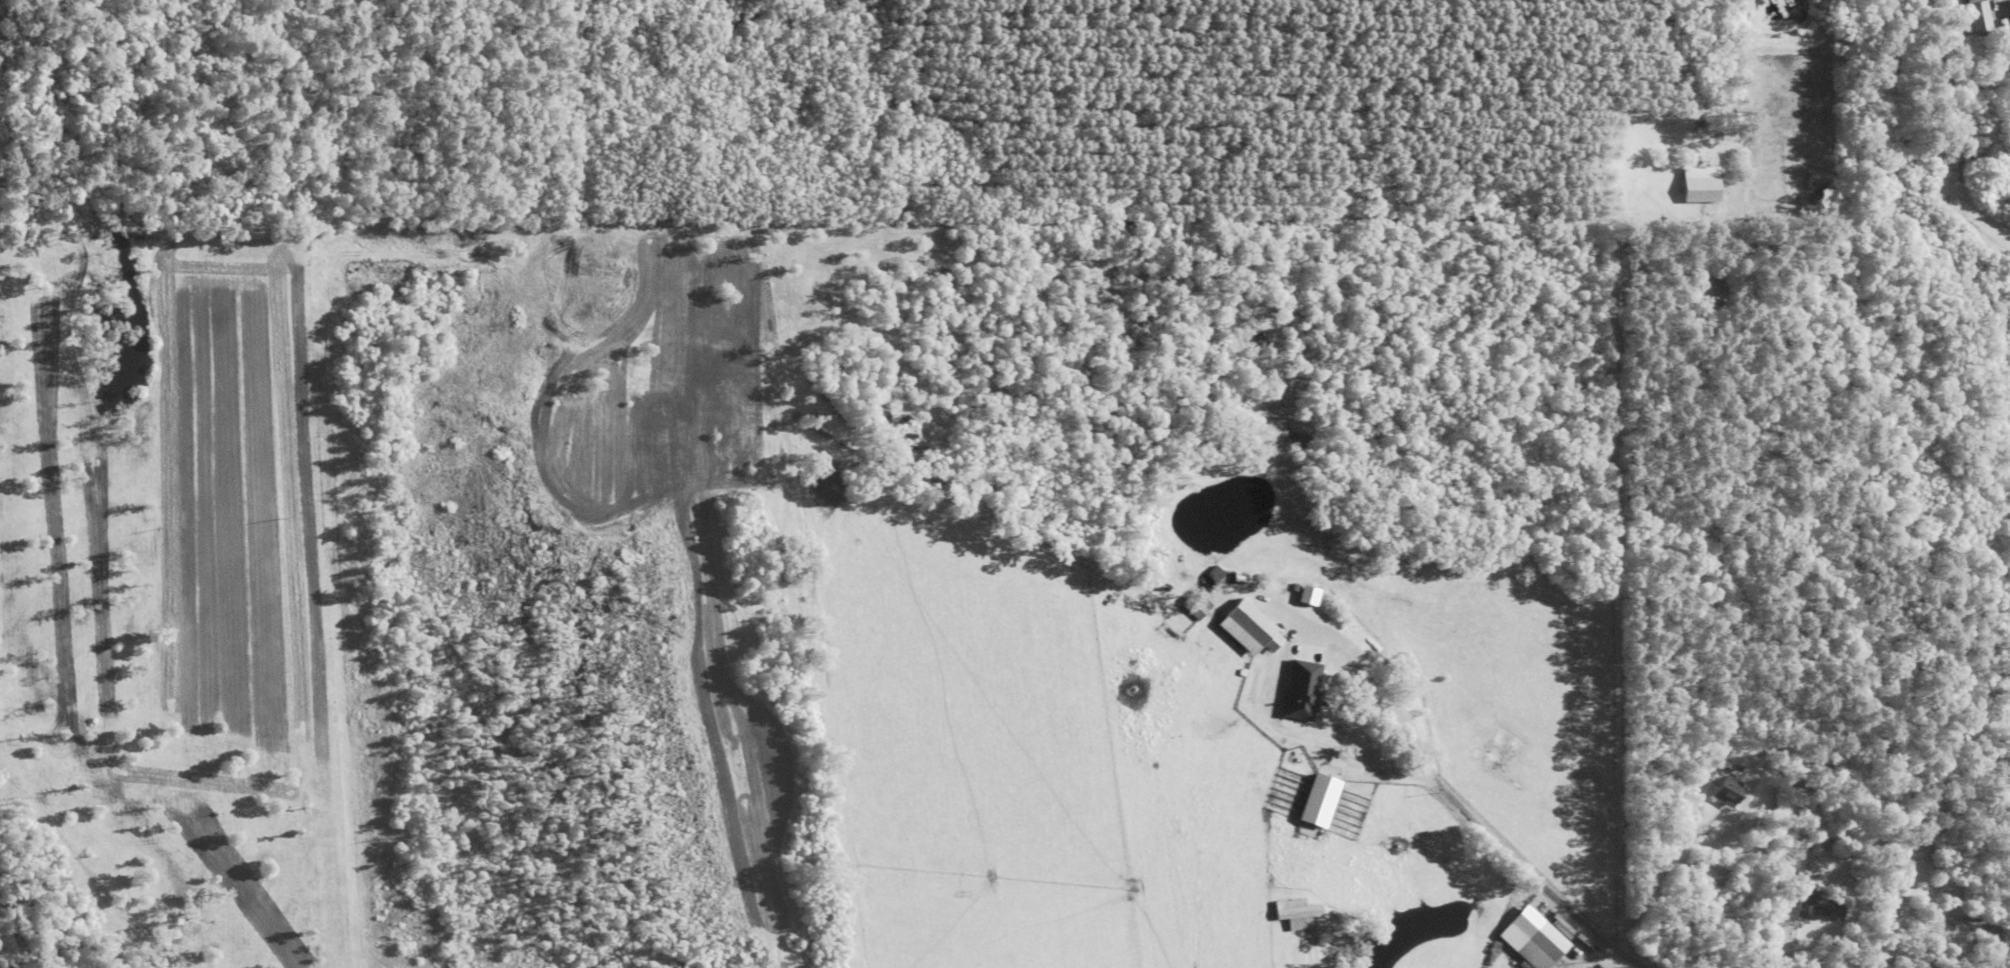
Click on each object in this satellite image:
road: (1388, 702)
road: (1530, 873)

